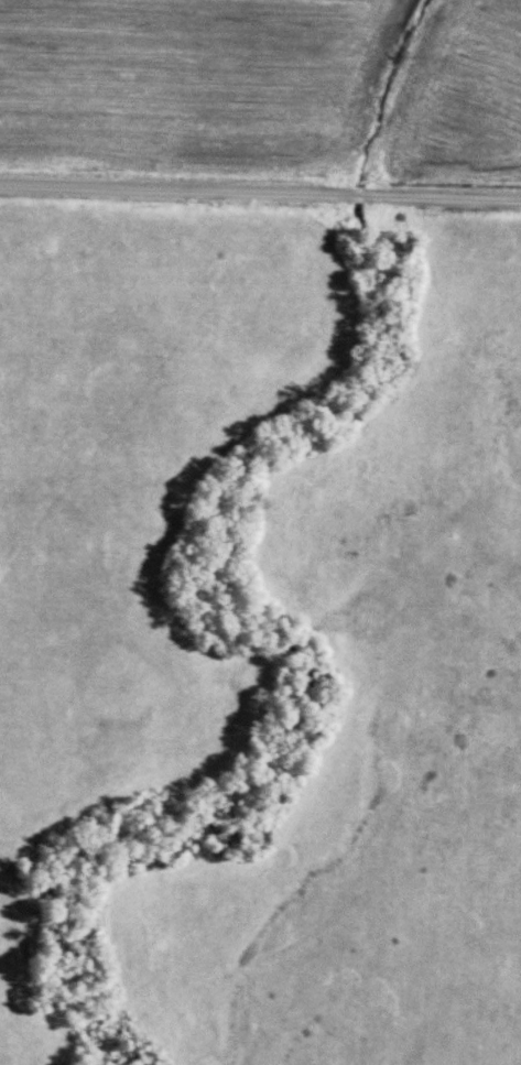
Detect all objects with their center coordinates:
road: (260, 191)

